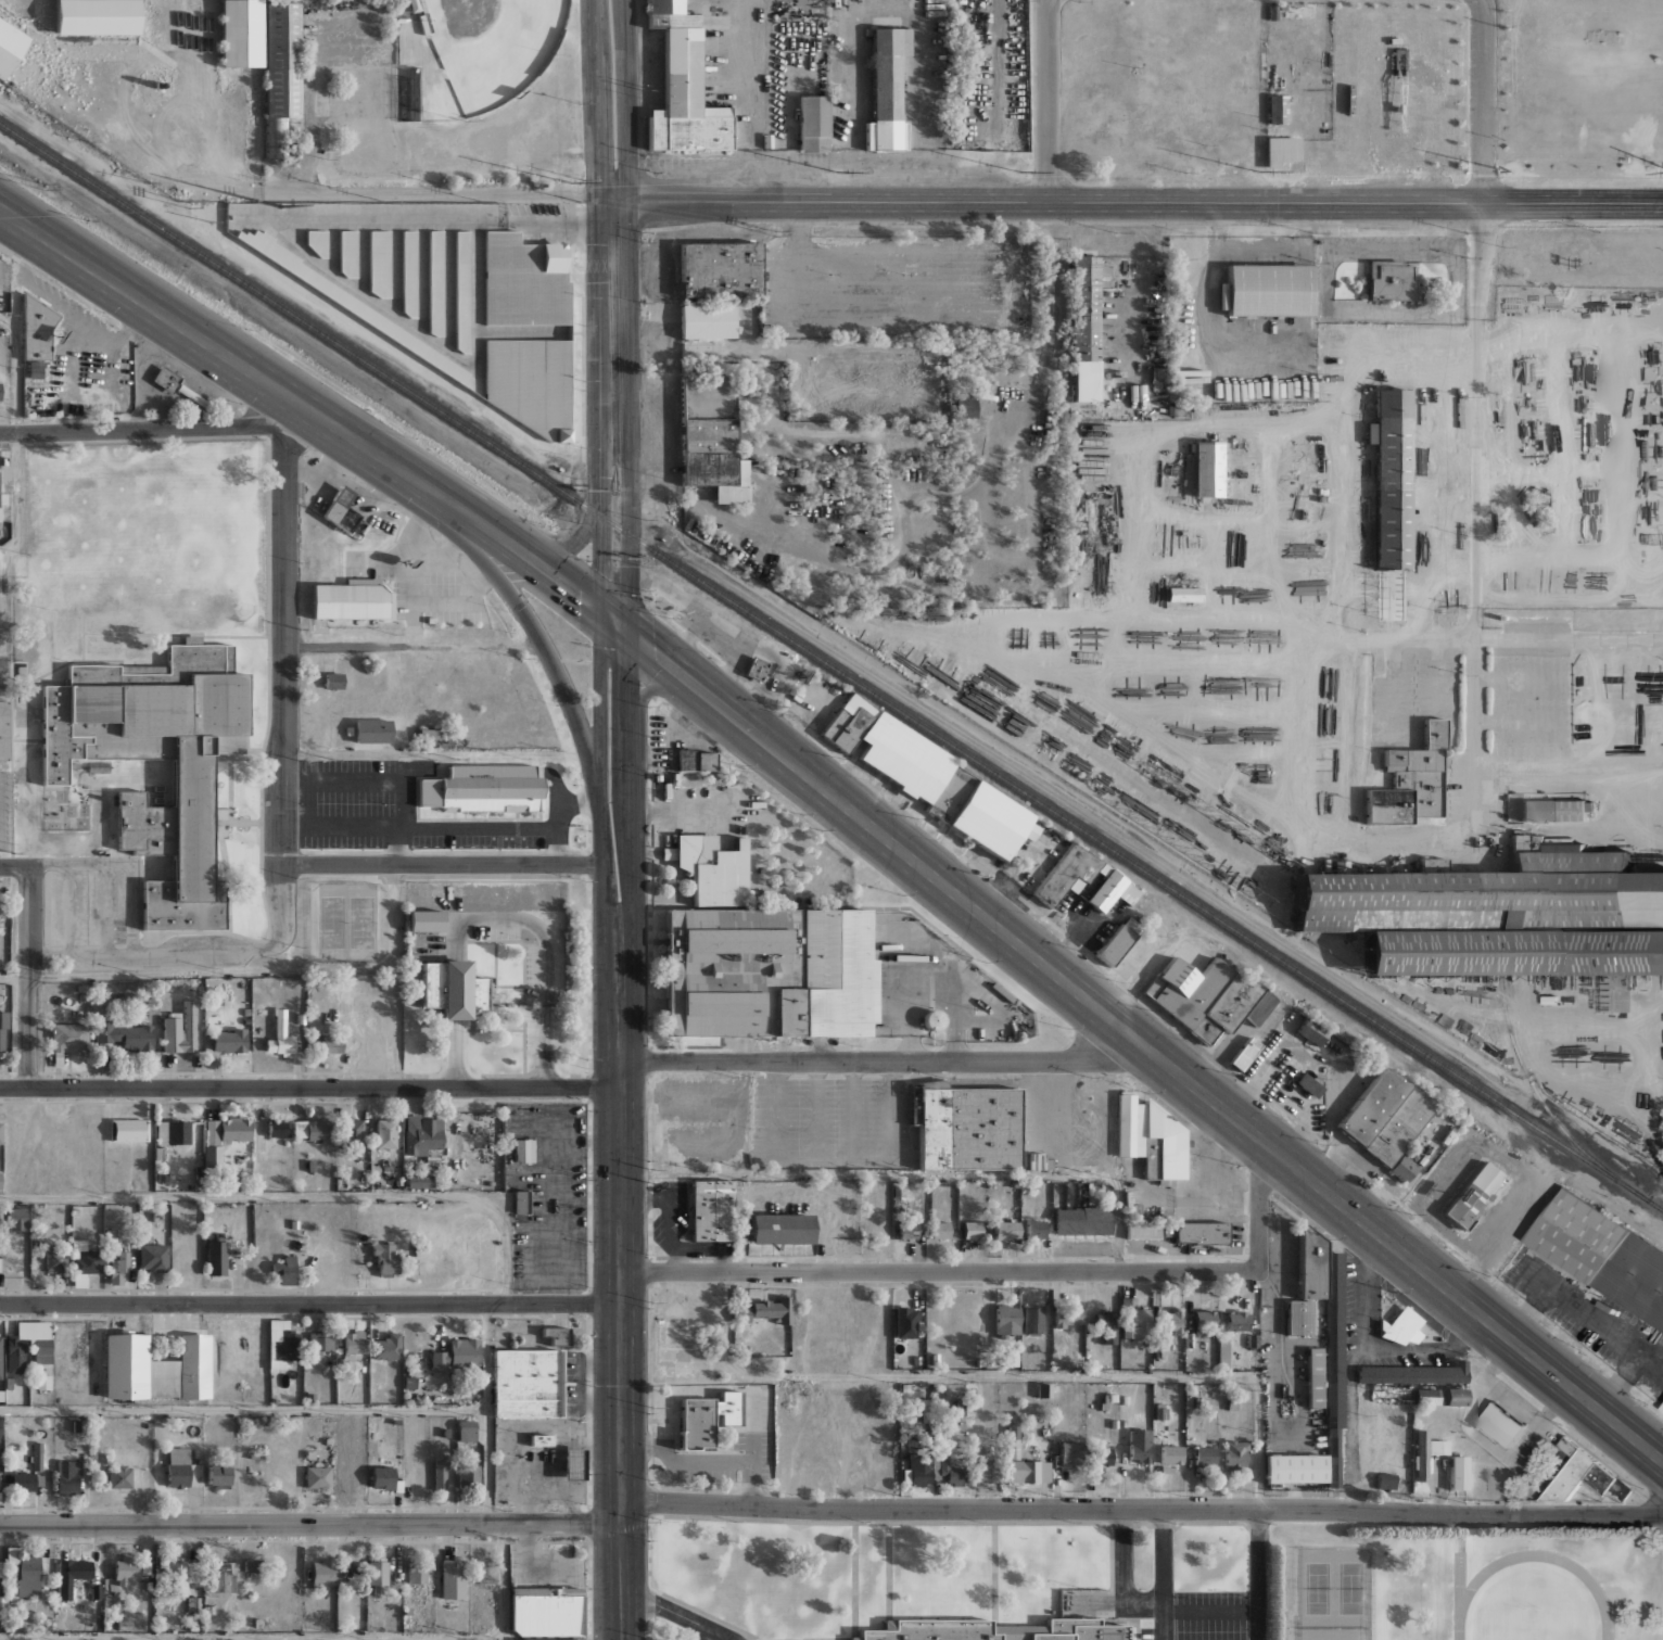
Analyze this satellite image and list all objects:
building: (98, 16)
building: (399, 20)
building: (422, 24)
building: (237, 33)
park: (492, 45)
building: (10, 47)
building: (281, 71)
building: (681, 88)
building: (884, 90)
park: (466, 98)
road: (626, 100)
road: (1044, 100)
road: (1482, 100)
road: (597, 101)
building: (1278, 109)
building: (810, 123)
building: (1014, 123)
building: (1280, 150)
building: (293, 154)
road: (416, 192)
road: (1139, 200)
building: (316, 241)
building: (346, 252)
building: (379, 262)
building: (715, 269)
building: (408, 272)
building: (521, 281)
building: (1389, 281)
building: (434, 282)
parking lot: (891, 287)
building: (1262, 290)
building: (461, 291)
building: (347, 303)
road: (615, 317)
building: (704, 321)
building: (1086, 323)
building: (38, 328)
road: (218, 348)
building: (36, 369)
building: (1157, 380)
building: (528, 383)
building: (175, 385)
building: (1, 391)
building: (963, 404)
road: (148, 429)
road: (14, 432)
building: (708, 438)
building: (1204, 469)
building: (1388, 478)
building: (0, 485)
road: (1472, 505)
building: (338, 509)
road: (602, 521)
road: (629, 530)
road: (580, 535)
road: (532, 559)
building: (1181, 594)
building: (351, 600)
traffic signals: (602, 609)
traffic signals: (629, 627)
road: (284, 632)
road: (534, 634)
road: (1570, 638)
road: (411, 641)
road: (3, 666)
railway: (833, 666)
building: (754, 668)
building: (332, 681)
building: (847, 723)
building: (370, 730)
building: (7, 732)
building: (432, 737)
building: (902, 757)
building: (698, 761)
road: (1567, 763)
road: (600, 765)
building: (1416, 773)
road: (630, 775)
building: (196, 788)
building: (479, 788)
building: (1385, 805)
building: (1550, 810)
building: (977, 813)
road: (442, 865)
road: (15, 866)
building: (710, 870)
building: (1066, 873)
building: (1104, 890)
building: (1473, 894)
building: (2, 907)
building: (422, 920)
park: (333, 921)
park: (363, 921)
building: (1113, 945)
road: (195, 950)
building: (1510, 953)
road: (546, 961)
road: (259, 970)
building: (763, 972)
road: (14, 975)
road: (29, 976)
building: (448, 989)
building: (1184, 989)
building: (1229, 1007)
building: (934, 1019)
building: (180, 1029)
building: (4, 1031)
building: (1309, 1031)
building: (127, 1033)
building: (71, 1038)
building: (280, 1040)
building: (228, 1041)
building: (328, 1044)
road: (1145, 1045)
building: (1243, 1053)
building: (1299, 1079)
road: (584, 1088)
railway: (1535, 1094)
building: (1369, 1105)
parking lot: (829, 1121)
building: (1397, 1126)
building: (278, 1127)
building: (963, 1127)
building: (312, 1130)
building: (1, 1131)
building: (174, 1132)
building: (353, 1132)
building: (422, 1132)
building: (224, 1133)
building: (385, 1133)
building: (1148, 1136)
building: (522, 1149)
building: (1038, 1161)
building: (1401, 1168)
building: (1, 1179)
building: (419, 1179)
building: (1166, 1180)
building: (1661, 1184)
road: (296, 1195)
building: (1472, 1195)
building: (519, 1202)
building: (709, 1210)
building: (1, 1215)
building: (17, 1218)
building: (1083, 1220)
building: (780, 1228)
building: (1165, 1228)
building: (972, 1229)
building: (1007, 1229)
building: (1036, 1229)
building: (907, 1230)
building: (940, 1230)
building: (1142, 1232)
building: (1198, 1233)
building: (1601, 1254)
building: (153, 1257)
building: (216, 1257)
building: (384, 1257)
building: (56, 1261)
building: (84, 1262)
building: (1307, 1263)
building: (119, 1269)
building: (284, 1269)
road: (620, 1279)
road: (1007, 1282)
road: (309, 1304)
building: (772, 1308)
building: (741, 1314)
building: (1068, 1317)
building: (1297, 1317)
building: (1033, 1319)
building: (1132, 1319)
building: (1204, 1319)
building: (1239, 1320)
road: (1596, 1320)
building: (905, 1321)
building: (1007, 1321)
building: (1172, 1321)
building: (1106, 1325)
building: (1400, 1326)
building: (555, 1335)
building: (253, 1342)
building: (355, 1342)
building: (319, 1343)
building: (285, 1344)
building: (28, 1345)
building: (386, 1346)
building: (1223, 1352)
building: (457, 1353)
building: (1, 1356)
building: (1010, 1359)
building: (1333, 1360)
building: (155, 1368)
building: (1413, 1373)
road: (1013, 1375)
building: (1313, 1376)
building: (525, 1382)
building: (1043, 1390)
building: (1424, 1397)
building: (1453, 1397)
building: (1230, 1402)
building: (925, 1407)
building: (1661, 1407)
building: (959, 1408)
road: (243, 1410)
road: (487, 1413)
building: (702, 1419)
building: (1499, 1424)
building: (467, 1427)
building: (0, 1436)
building: (538, 1440)
building: (360, 1442)
building: (1140, 1446)
building: (1071, 1452)
building: (1425, 1452)
building: (1171, 1453)
building: (38, 1454)
building: (1235, 1454)
building: (1102, 1455)
building: (1205, 1455)
building: (1024, 1463)
building: (573, 1464)
building: (178, 1466)
building: (1292, 1467)
building: (348, 1471)
building: (950, 1471)
building: (988, 1471)
building: (1456, 1472)
building: (917, 1473)
building: (120, 1475)
building: (217, 1475)
building: (440, 1475)
building: (468, 1475)
building: (1582, 1475)
building: (318, 1476)
building: (67, 1477)
building: (382, 1478)
building: (1384, 1480)
building: (27, 1482)
road: (830, 1509)
building: (252, 1565)
parking lot: (545, 1565)
building: (0, 1566)
building: (352, 1569)
building: (130, 1571)
building: (322, 1572)
building: (73, 1574)
building: (177, 1574)
building: (417, 1574)
road: (1161, 1574)
road: (1258, 1574)
building: (378, 1575)
building: (29, 1576)
road: (1125, 1576)
building: (223, 1577)
building: (453, 1578)
road: (504, 1581)
park: (1317, 1587)
park: (1350, 1587)
building: (96, 1591)
track: (1462, 1593)
building: (543, 1610)
road: (1210, 1610)
road: (676, 1613)
parking lot: (1214, 1616)
park: (1531, 1623)
building: (995, 1630)
road: (706, 1633)
road: (252, 1637)
building: (572, 1639)

